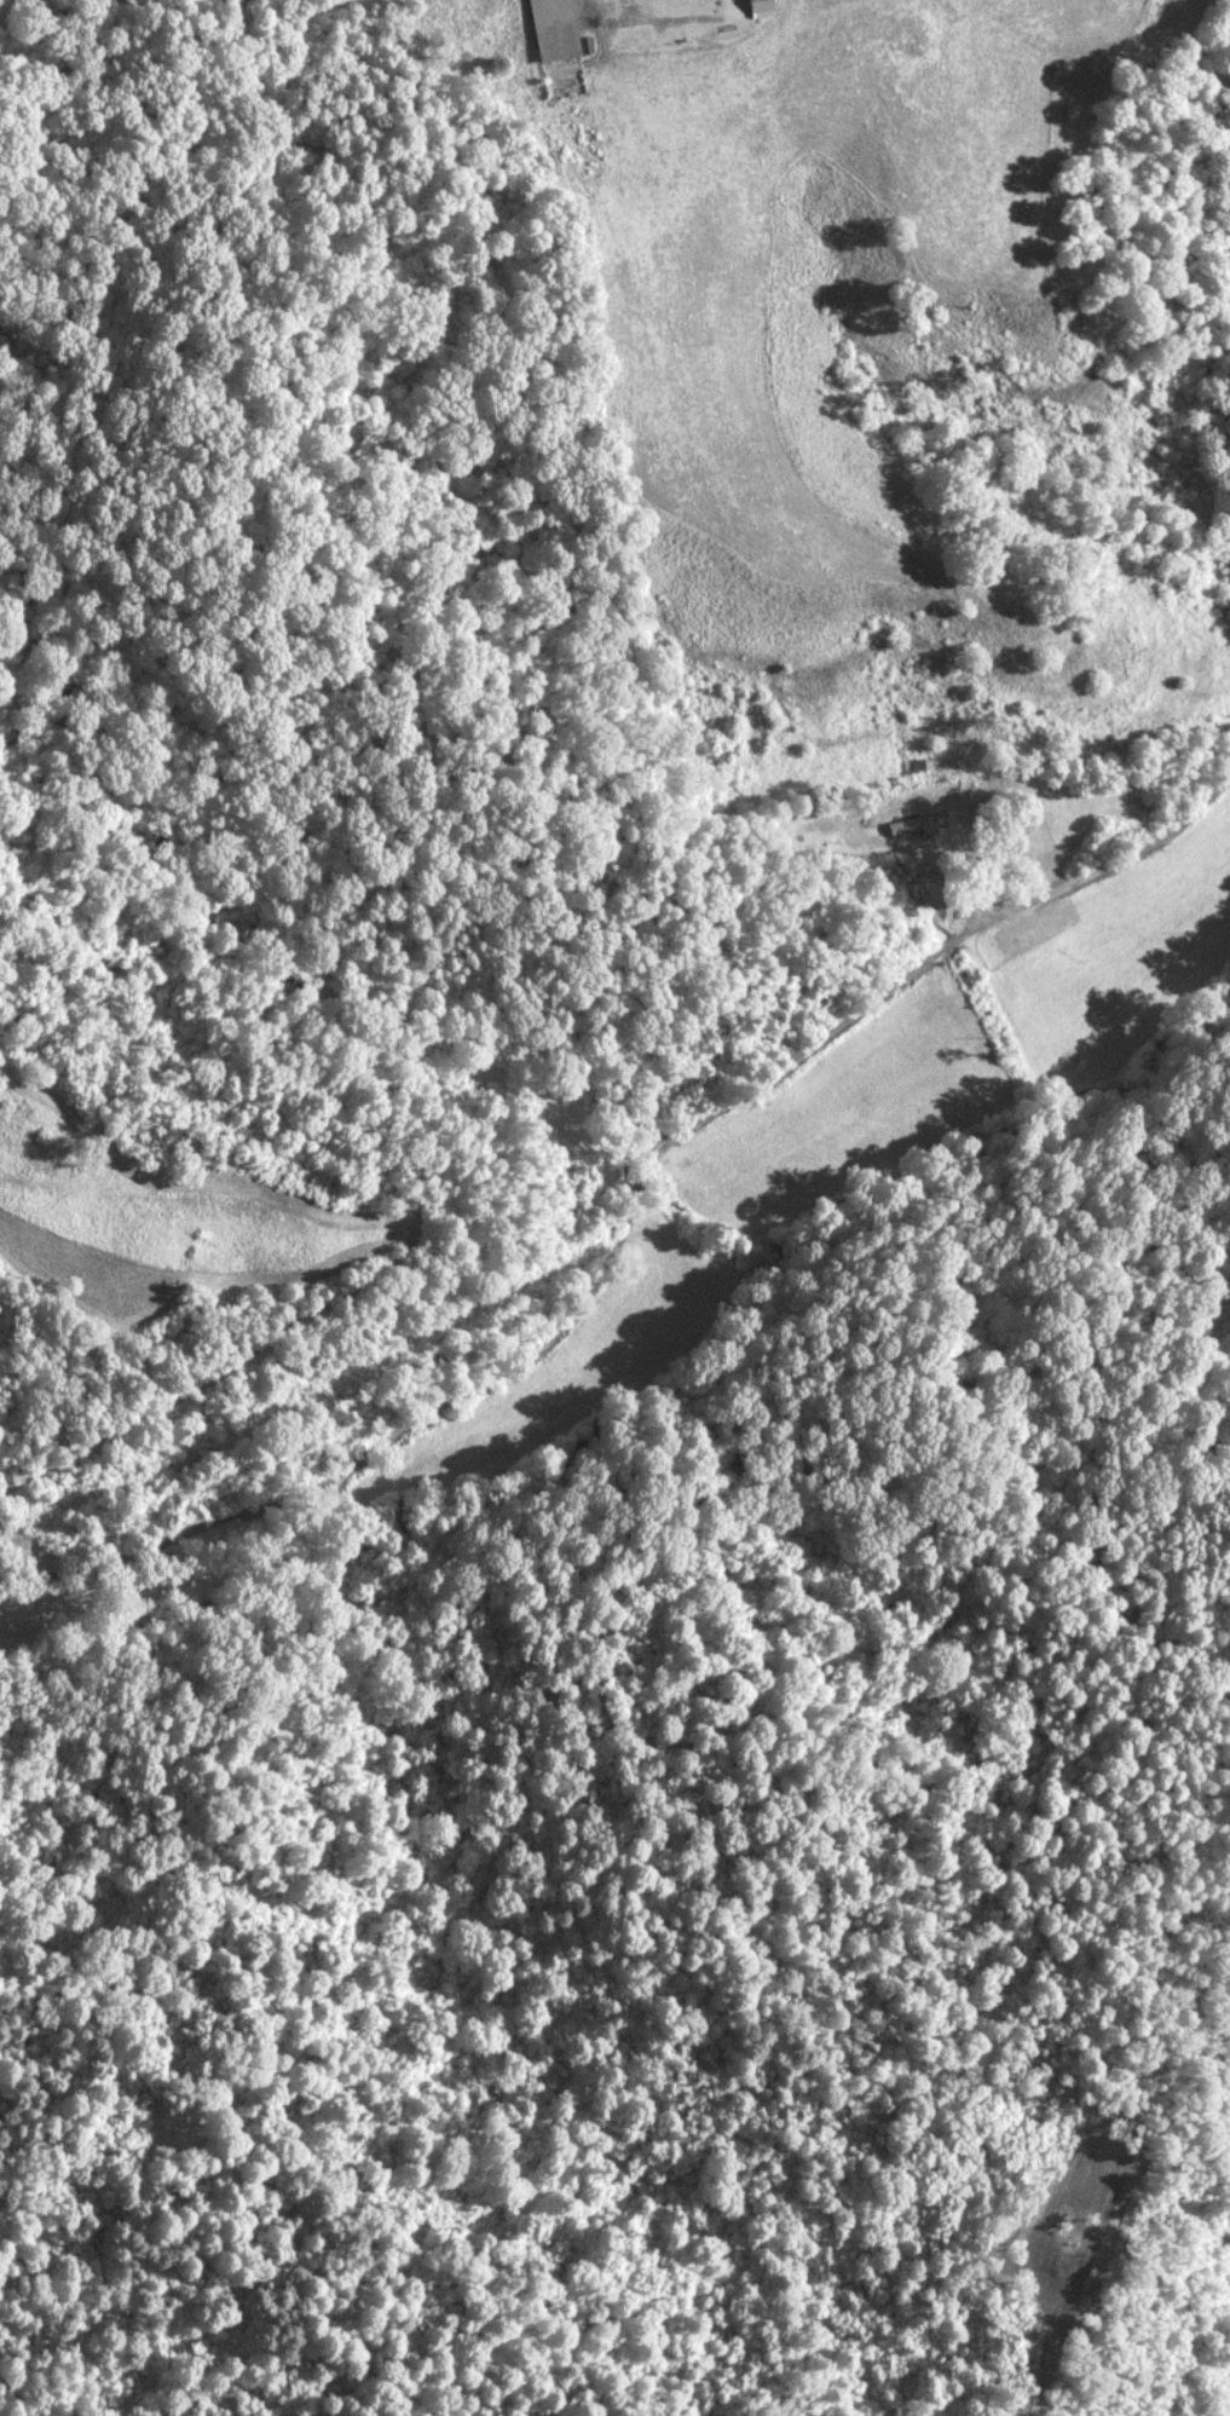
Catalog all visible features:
building: (769, 7)
building: (552, 30)
building: (917, 824)
road: (619, 1233)

